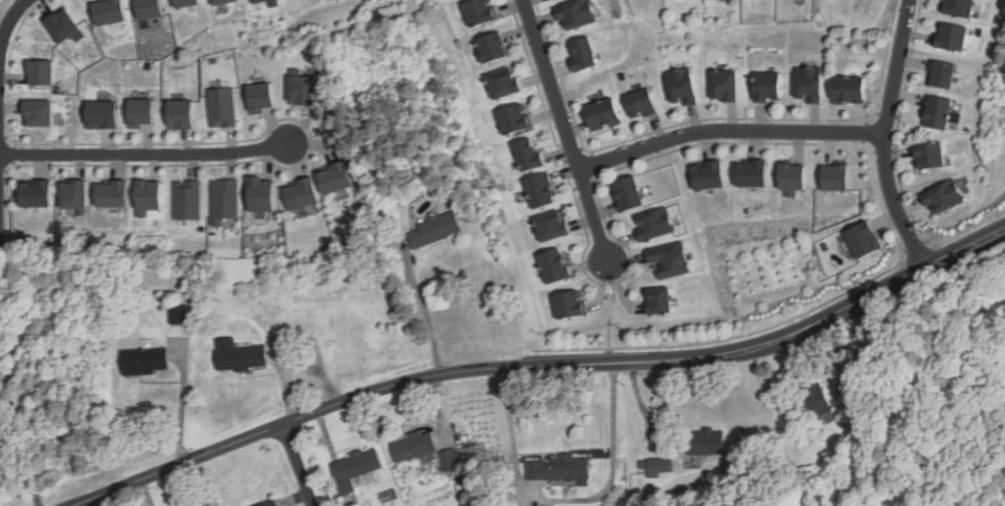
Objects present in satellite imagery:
building: (221, 1)
building: (255, 1)
building: (186, 3)
building: (271, 3)
building: (957, 8)
building: (149, 9)
building: (109, 11)
building: (480, 12)
building: (576, 13)
road: (10, 19)
building: (64, 26)
building: (951, 37)
building: (492, 47)
building: (586, 52)
building: (40, 71)
building: (938, 73)
building: (504, 83)
building: (809, 83)
building: (725, 85)
building: (682, 86)
building: (769, 86)
building: (302, 87)
building: (849, 90)
building: (261, 97)
building: (642, 104)
building: (222, 107)
building: (39, 112)
building: (141, 112)
building: (181, 113)
building: (938, 113)
building: (103, 114)
building: (602, 114)
building: (514, 118)
road: (565, 129)
road: (728, 132)
road: (884, 137)
road: (144, 153)
building: (529, 155)
building: (929, 156)
building: (756, 172)
building: (712, 173)
building: (797, 176)
building: (840, 176)
building: (334, 177)
building: (540, 190)
building: (631, 192)
building: (36, 193)
building: (74, 193)
building: (112, 193)
building: (260, 193)
building: (300, 193)
building: (149, 196)
building: (943, 197)
building: (187, 199)
building: (224, 199)
building: (658, 223)
building: (552, 225)
building: (435, 229)
building: (867, 238)
building: (668, 259)
building: (554, 266)
building: (659, 301)
building: (569, 304)
building: (178, 313)
road: (426, 314)
road: (818, 324)
building: (239, 355)
building: (145, 361)
building: (815, 400)
road: (182, 401)
road: (337, 404)
building: (708, 442)
building: (413, 445)
building: (451, 460)
building: (5, 462)
road: (298, 465)
building: (658, 466)
building: (354, 468)
building: (560, 469)
road: (566, 500)
building: (269, 503)

